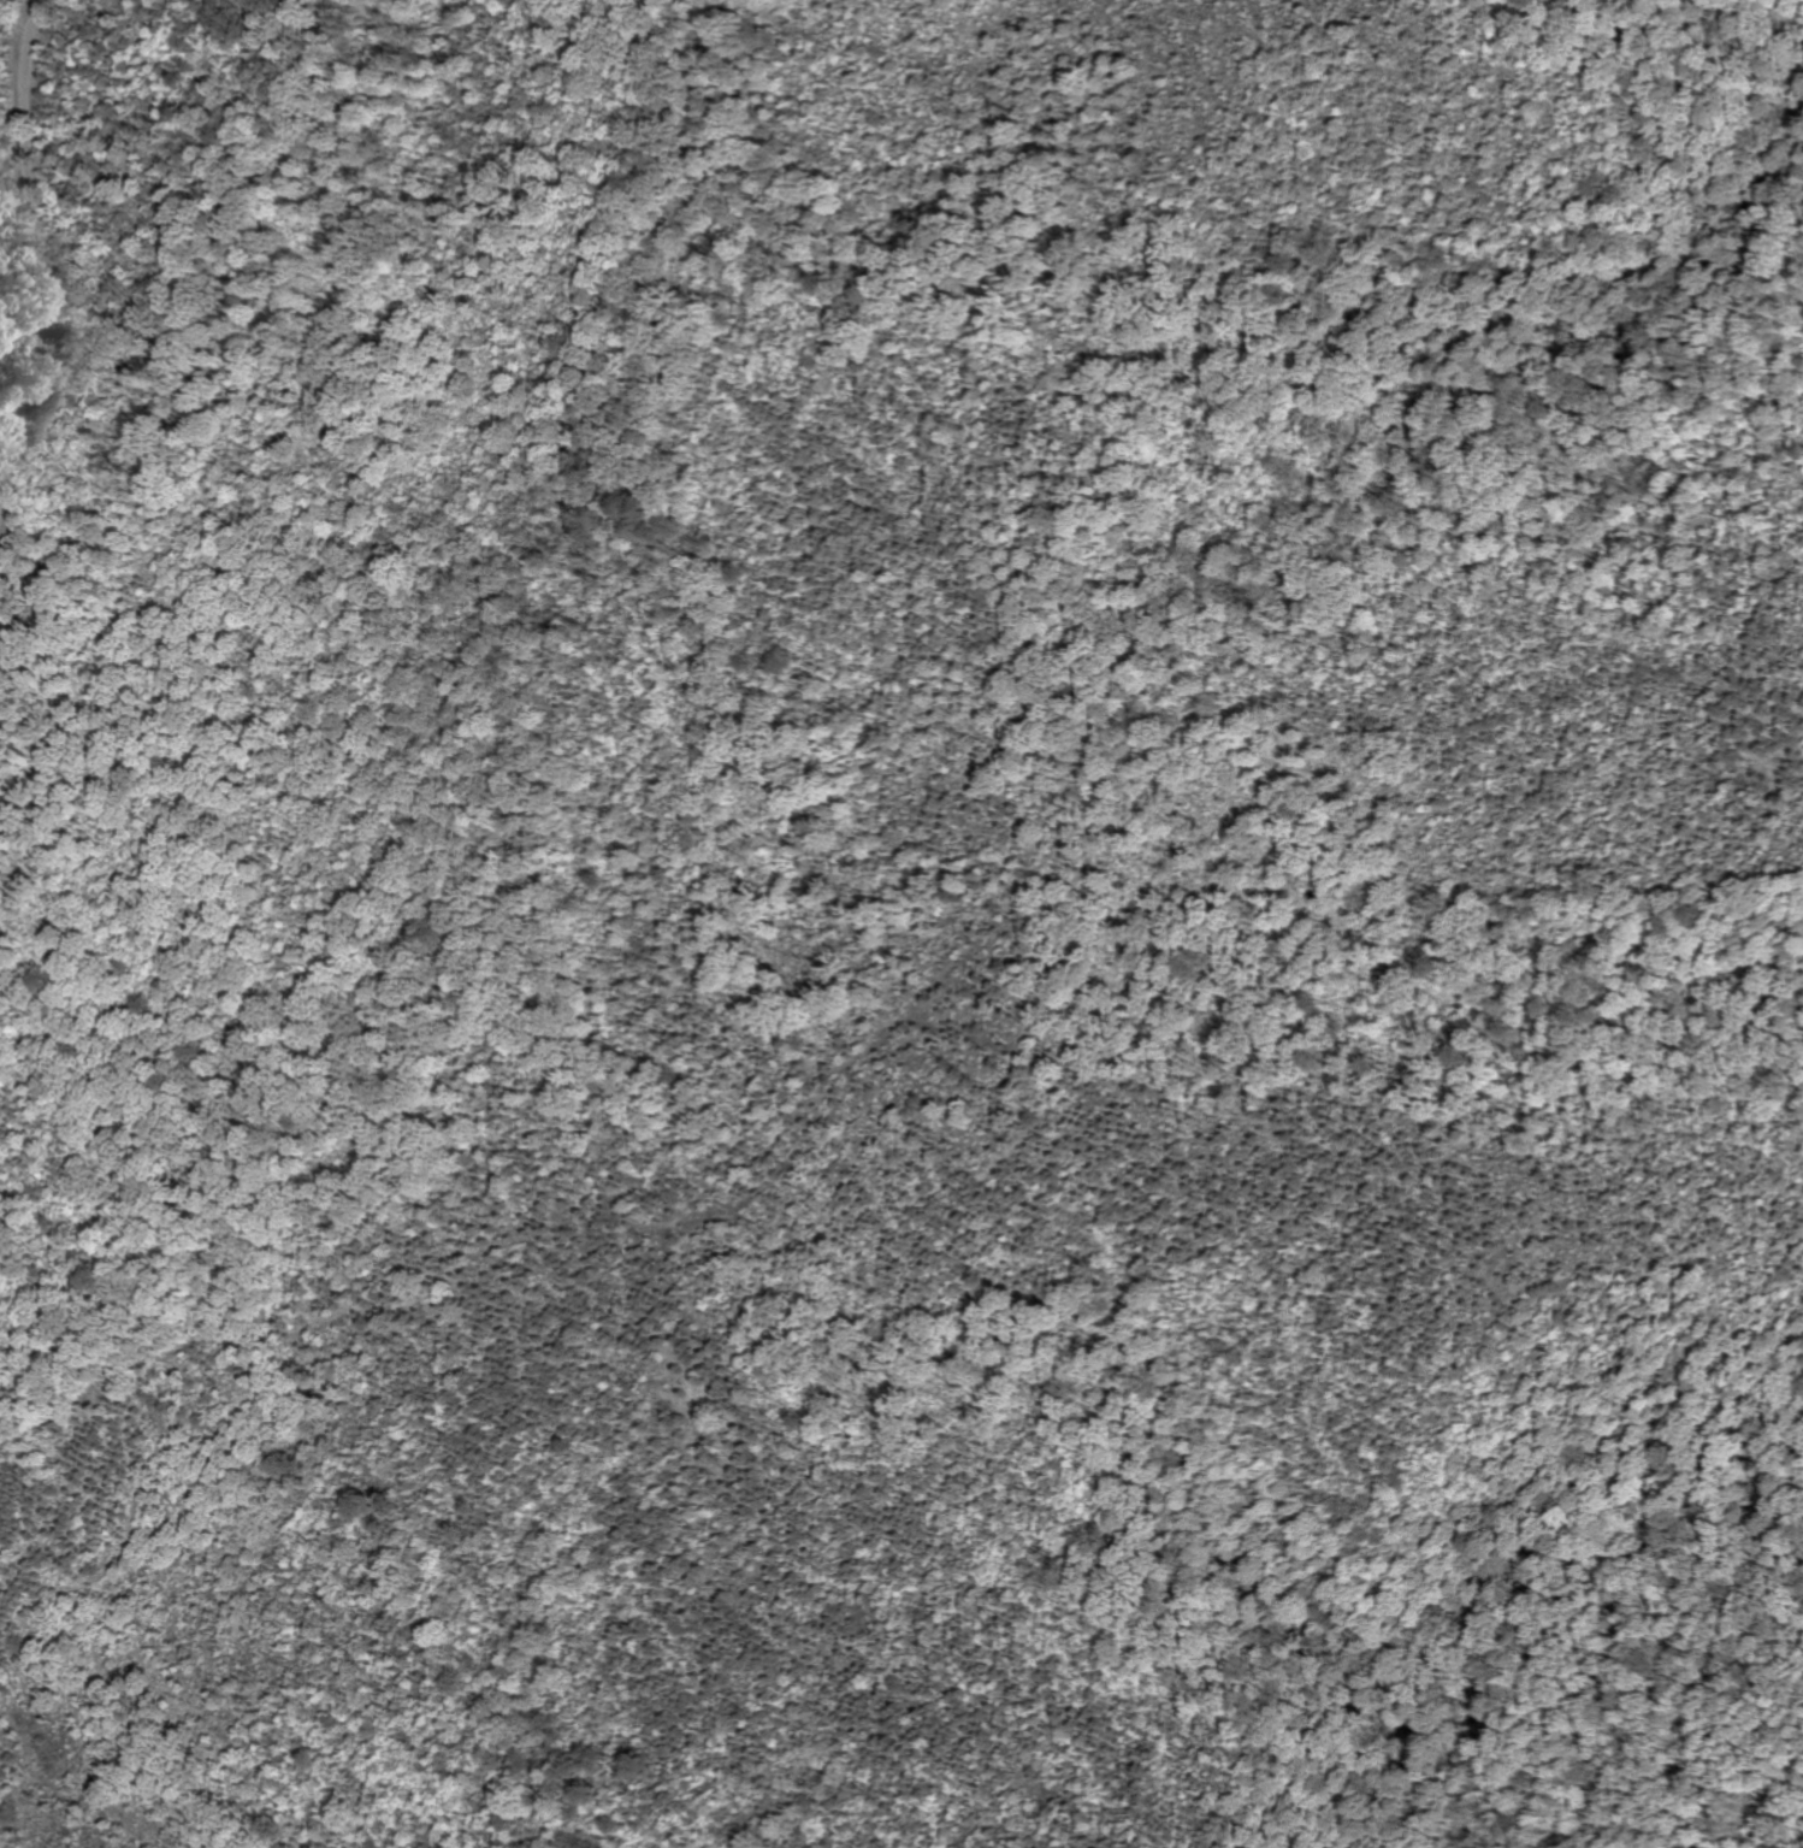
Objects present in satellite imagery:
road: (32, 264)

